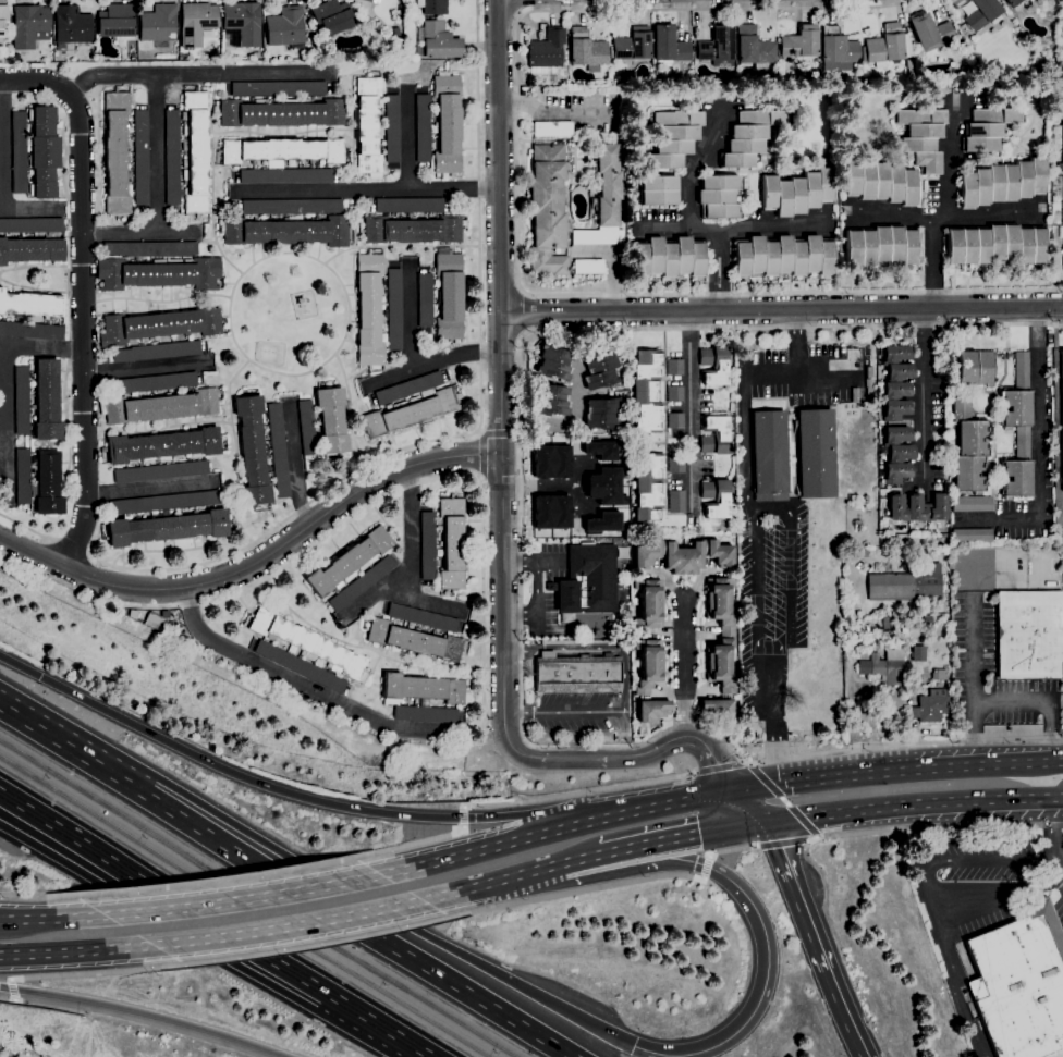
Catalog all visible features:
building: (370, 0)
building: (965, 0)
building: (1017, 4)
building: (432, 7)
road: (522, 7)
building: (981, 13)
building: (332, 16)
building: (2, 19)
building: (117, 22)
building: (196, 22)
building: (158, 23)
building: (242, 23)
building: (72, 24)
building: (29, 25)
building: (285, 26)
building: (929, 32)
building: (394, 33)
building: (439, 40)
building: (632, 45)
building: (669, 45)
building: (799, 45)
building: (885, 46)
building: (718, 47)
building: (754, 48)
building: (586, 50)
building: (836, 50)
building: (546, 52)
building: (56, 59)
road: (198, 77)
road: (37, 81)
building: (277, 88)
road: (549, 111)
building: (281, 112)
building: (997, 114)
building: (920, 115)
building: (761, 116)
building: (679, 118)
building: (1062, 123)
building: (447, 124)
building: (367, 127)
building: (423, 127)
building: (392, 128)
building: (552, 128)
building: (924, 130)
building: (983, 130)
building: (749, 132)
road: (282, 133)
road: (353, 133)
building: (679, 133)
road: (407, 143)
building: (980, 144)
building: (917, 145)
building: (672, 146)
building: (746, 146)
building: (195, 150)
building: (20, 151)
building: (44, 151)
building: (282, 151)
building: (117, 152)
road: (155, 156)
road: (65, 157)
building: (142, 157)
building: (172, 157)
road: (949, 159)
building: (663, 160)
building: (736, 160)
building: (927, 161)
road: (3, 172)
building: (1037, 174)
building: (285, 175)
building: (852, 176)
building: (1023, 179)
building: (880, 180)
road: (211, 181)
building: (866, 181)
building: (719, 182)
building: (994, 182)
building: (1009, 182)
building: (658, 183)
building: (894, 183)
building: (824, 184)
building: (908, 186)
building: (981, 186)
road: (366, 188)
building: (966, 188)
building: (810, 189)
building: (768, 192)
building: (716, 196)
building: (796, 196)
building: (659, 197)
building: (782, 198)
building: (603, 199)
building: (410, 205)
building: (292, 207)
building: (548, 209)
building: (719, 210)
road: (892, 212)
road: (939, 214)
building: (1062, 221)
road: (771, 222)
road: (694, 223)
building: (30, 224)
road: (669, 224)
building: (413, 229)
road: (515, 229)
building: (286, 231)
road: (139, 234)
road: (206, 241)
building: (1009, 242)
building: (995, 243)
building: (881, 244)
building: (894, 244)
building: (1024, 245)
building: (1038, 245)
road: (399, 246)
building: (908, 246)
building: (953, 246)
building: (968, 246)
building: (981, 246)
building: (853, 247)
building: (867, 247)
building: (32, 248)
building: (151, 248)
building: (783, 253)
building: (682, 254)
building: (756, 254)
building: (811, 254)
building: (653, 256)
building: (826, 256)
building: (668, 257)
building: (741, 257)
building: (769, 257)
building: (796, 257)
building: (639, 258)
building: (696, 258)
road: (612, 265)
road: (40, 266)
building: (588, 266)
building: (160, 273)
road: (40, 290)
building: (449, 296)
building: (425, 299)
road: (157, 300)
building: (30, 304)
building: (394, 308)
road: (782, 309)
building: (369, 310)
road: (523, 312)
building: (381, 316)
road: (411, 320)
building: (157, 325)
building: (32, 330)
road: (83, 331)
road: (797, 341)
building: (157, 351)
building: (895, 353)
road: (335, 354)
building: (554, 361)
road: (431, 365)
building: (713, 365)
building: (674, 367)
building: (975, 368)
road: (146, 370)
building: (600, 370)
building: (900, 371)
road: (827, 372)
road: (68, 373)
building: (156, 382)
road: (8, 386)
building: (408, 388)
building: (895, 390)
road: (925, 390)
building: (647, 391)
building: (674, 393)
building: (22, 400)
building: (550, 400)
building: (47, 401)
building: (159, 406)
building: (384, 407)
road: (502, 407)
road: (692, 409)
building: (895, 409)
building: (412, 410)
building: (1062, 411)
building: (602, 414)
road: (744, 416)
building: (331, 419)
building: (675, 420)
road: (563, 421)
building: (307, 427)
road: (159, 429)
road: (481, 431)
building: (1017, 431)
road: (500, 433)
building: (714, 434)
building: (896, 434)
road: (1038, 445)
building: (163, 446)
building: (601, 448)
building: (968, 448)
road: (234, 450)
building: (253, 450)
building: (279, 450)
building: (883, 450)
building: (900, 452)
building: (815, 453)
building: (769, 455)
road: (482, 456)
building: (549, 460)
road: (294, 464)
building: (675, 465)
building: (161, 471)
building: (895, 472)
building: (23, 476)
building: (47, 484)
road: (539, 484)
road: (576, 486)
building: (603, 486)
building: (647, 487)
road: (149, 489)
building: (716, 497)
building: (676, 501)
building: (163, 502)
building: (972, 503)
building: (917, 507)
building: (550, 511)
parking lot: (781, 518)
road: (317, 519)
building: (601, 521)
building: (164, 527)
road: (29, 530)
building: (972, 536)
building: (443, 544)
road: (74, 546)
road: (520, 546)
building: (683, 555)
road: (787, 555)
road: (298, 557)
building: (852, 557)
road: (412, 560)
road: (549, 561)
building: (350, 562)
road: (518, 562)
building: (845, 564)
road: (65, 567)
road: (536, 577)
building: (588, 580)
building: (362, 582)
building: (905, 583)
road: (754, 585)
road: (421, 601)
road: (536, 604)
building: (649, 604)
road: (484, 612)
building: (164, 613)
road: (520, 615)
building: (421, 617)
building: (927, 619)
building: (890, 622)
road: (536, 624)
building: (904, 629)
road: (974, 631)
building: (720, 632)
building: (1028, 634)
building: (416, 640)
road: (778, 644)
building: (306, 652)
building: (917, 653)
building: (649, 664)
road: (20, 665)
building: (883, 666)
road: (684, 669)
building: (577, 674)
building: (939, 674)
traffic signals: (40, 676)
road: (624, 678)
road: (851, 680)
building: (948, 683)
road: (302, 685)
building: (425, 697)
road: (1012, 703)
building: (930, 705)
building: (717, 709)
building: (652, 710)
road: (774, 718)
road: (630, 759)
road: (712, 759)
road: (982, 764)
road: (719, 766)
road: (842, 776)
road: (763, 779)
road: (757, 786)
traffic signals: (733, 790)
road: (289, 792)
road: (578, 792)
road: (1058, 796)
road: (784, 800)
road: (747, 807)
road: (645, 808)
road: (912, 808)
road: (461, 815)
road: (802, 820)
traffic signals: (761, 824)
road: (934, 826)
road: (1053, 832)
road: (697, 833)
road: (782, 843)
road: (410, 845)
road: (733, 849)
road: (618, 850)
road: (469, 851)
road: (581, 859)
parking lot: (1002, 859)
road: (994, 860)
road: (1059, 860)
road: (707, 867)
road: (314, 868)
road: (1058, 872)
road: (924, 878)
road: (211, 881)
road: (286, 881)
road: (491, 882)
road: (575, 890)
road: (35, 895)
road: (997, 895)
road: (242, 898)
railway: (258, 898)
railway: (244, 907)
road: (51, 917)
road: (215, 924)
road: (286, 925)
road: (198, 939)
road: (812, 939)
road: (316, 944)
road: (75, 950)
road: (768, 959)
road: (95, 971)
road: (952, 982)
building: (1021, 983)
road: (12, 988)
road: (11, 998)
road: (144, 1012)
traffic signals: (632, 1045)

